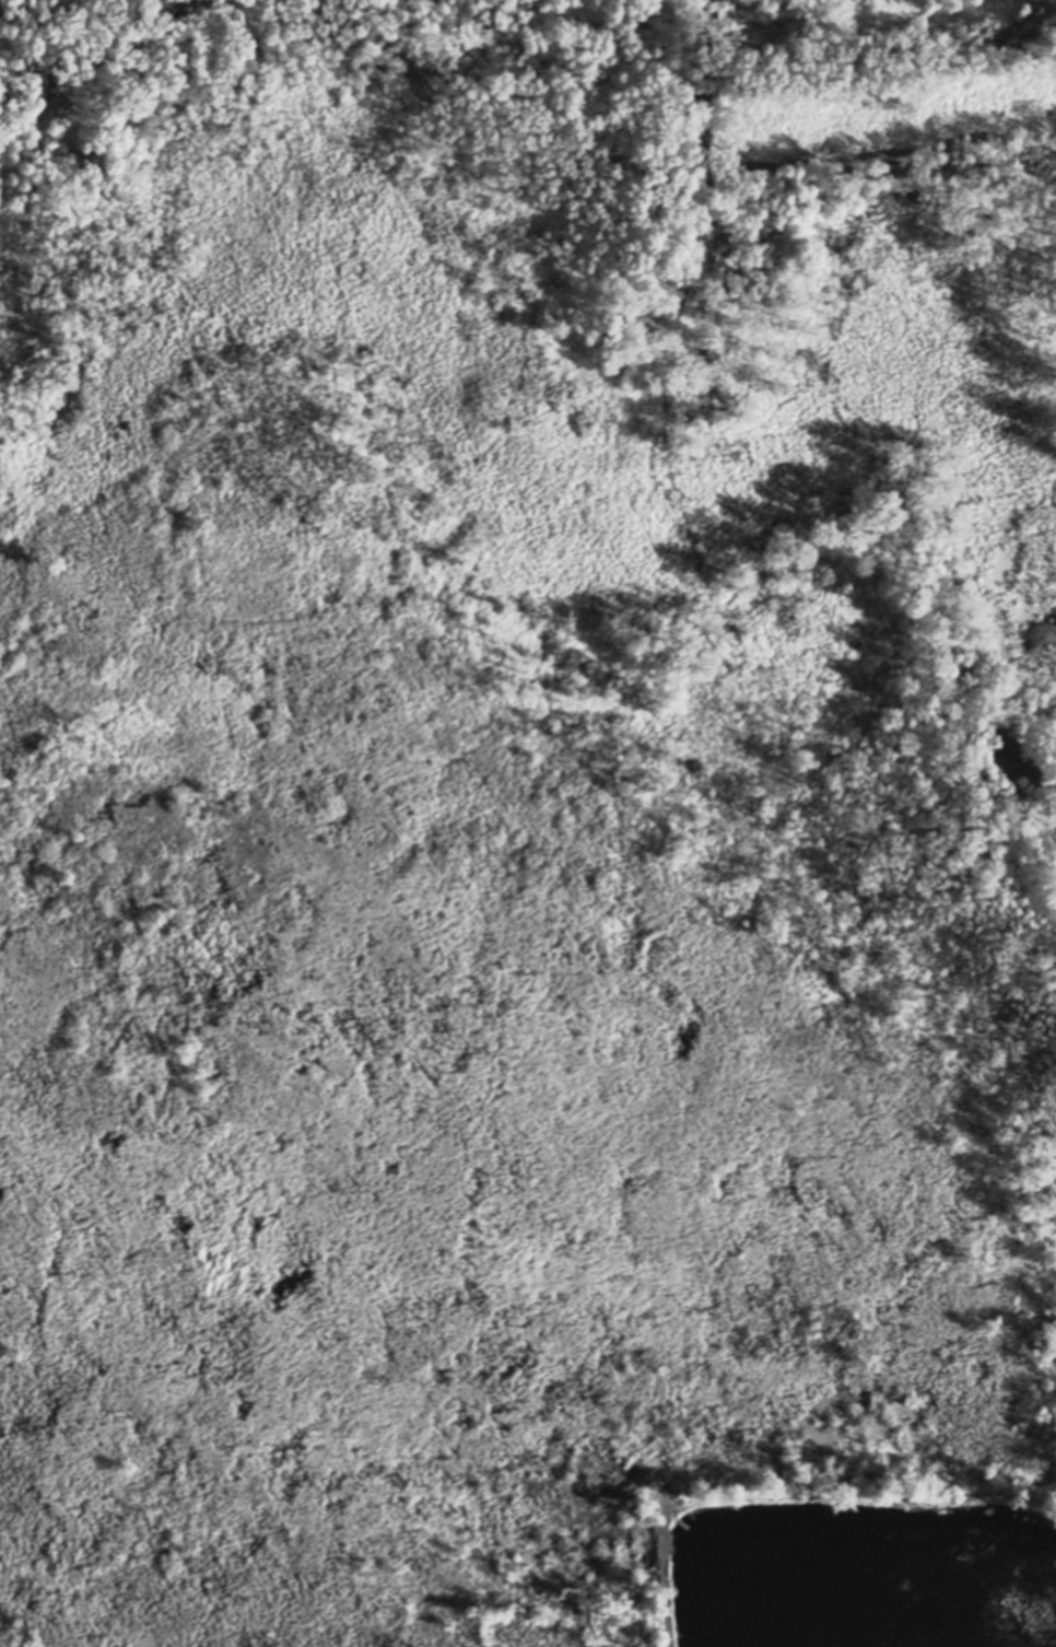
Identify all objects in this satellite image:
road: (754, 9)

